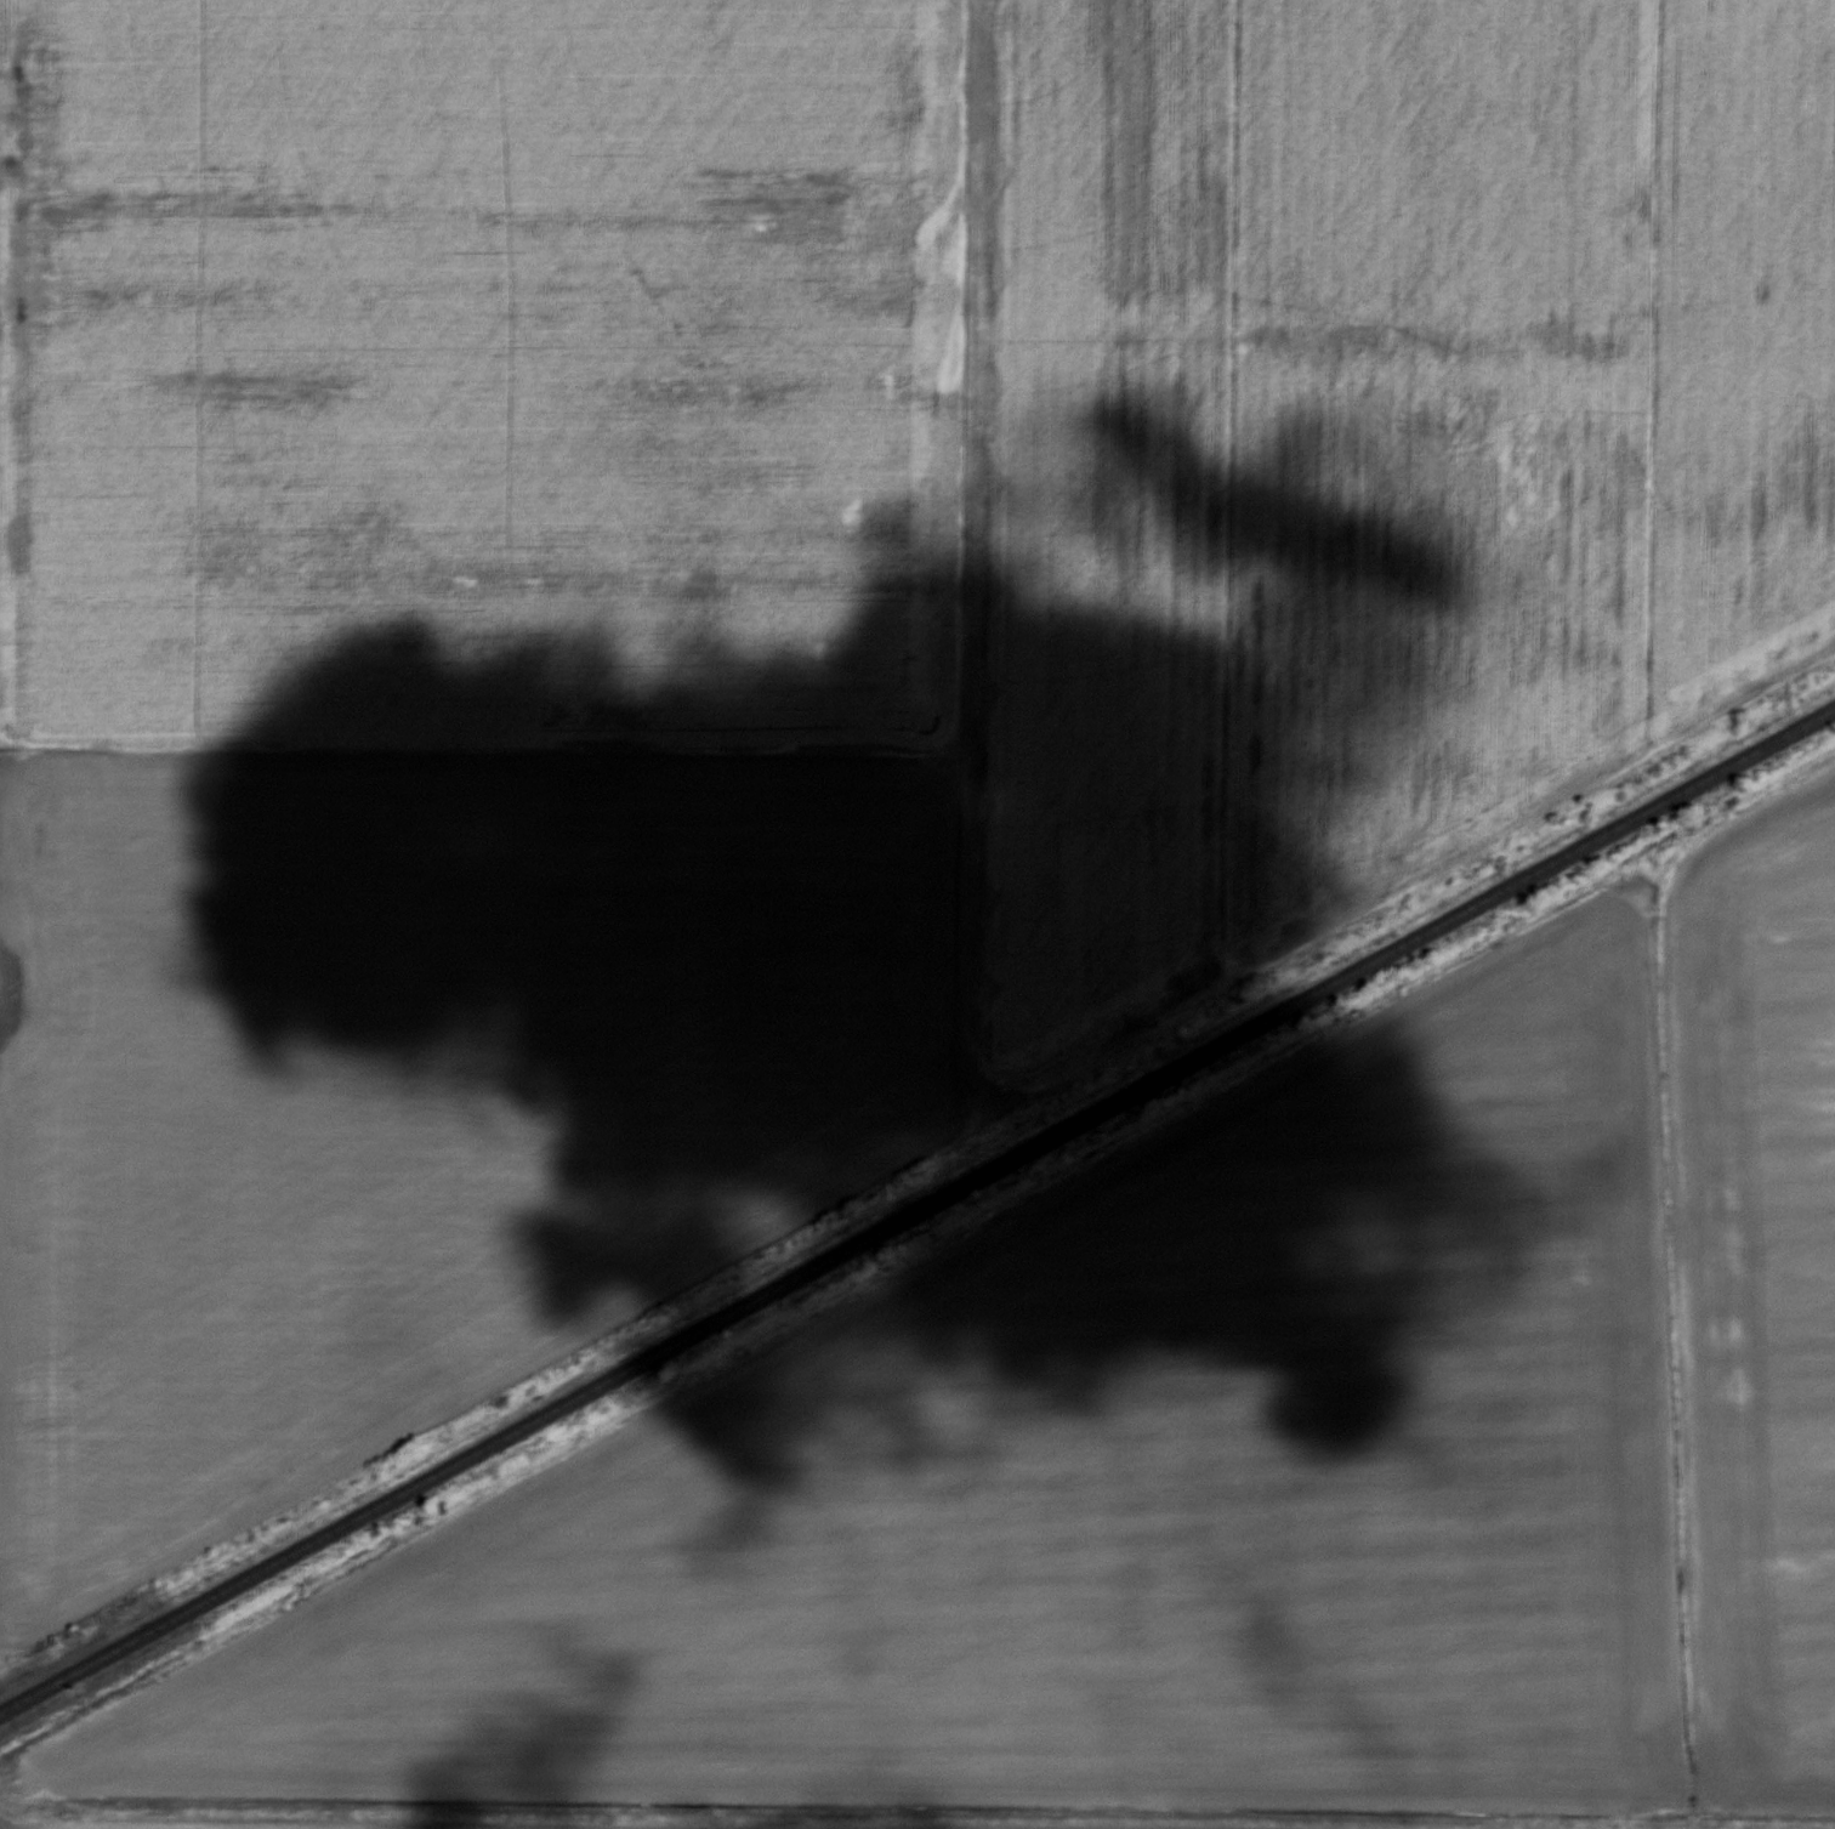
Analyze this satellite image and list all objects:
railway: (916, 1211)

